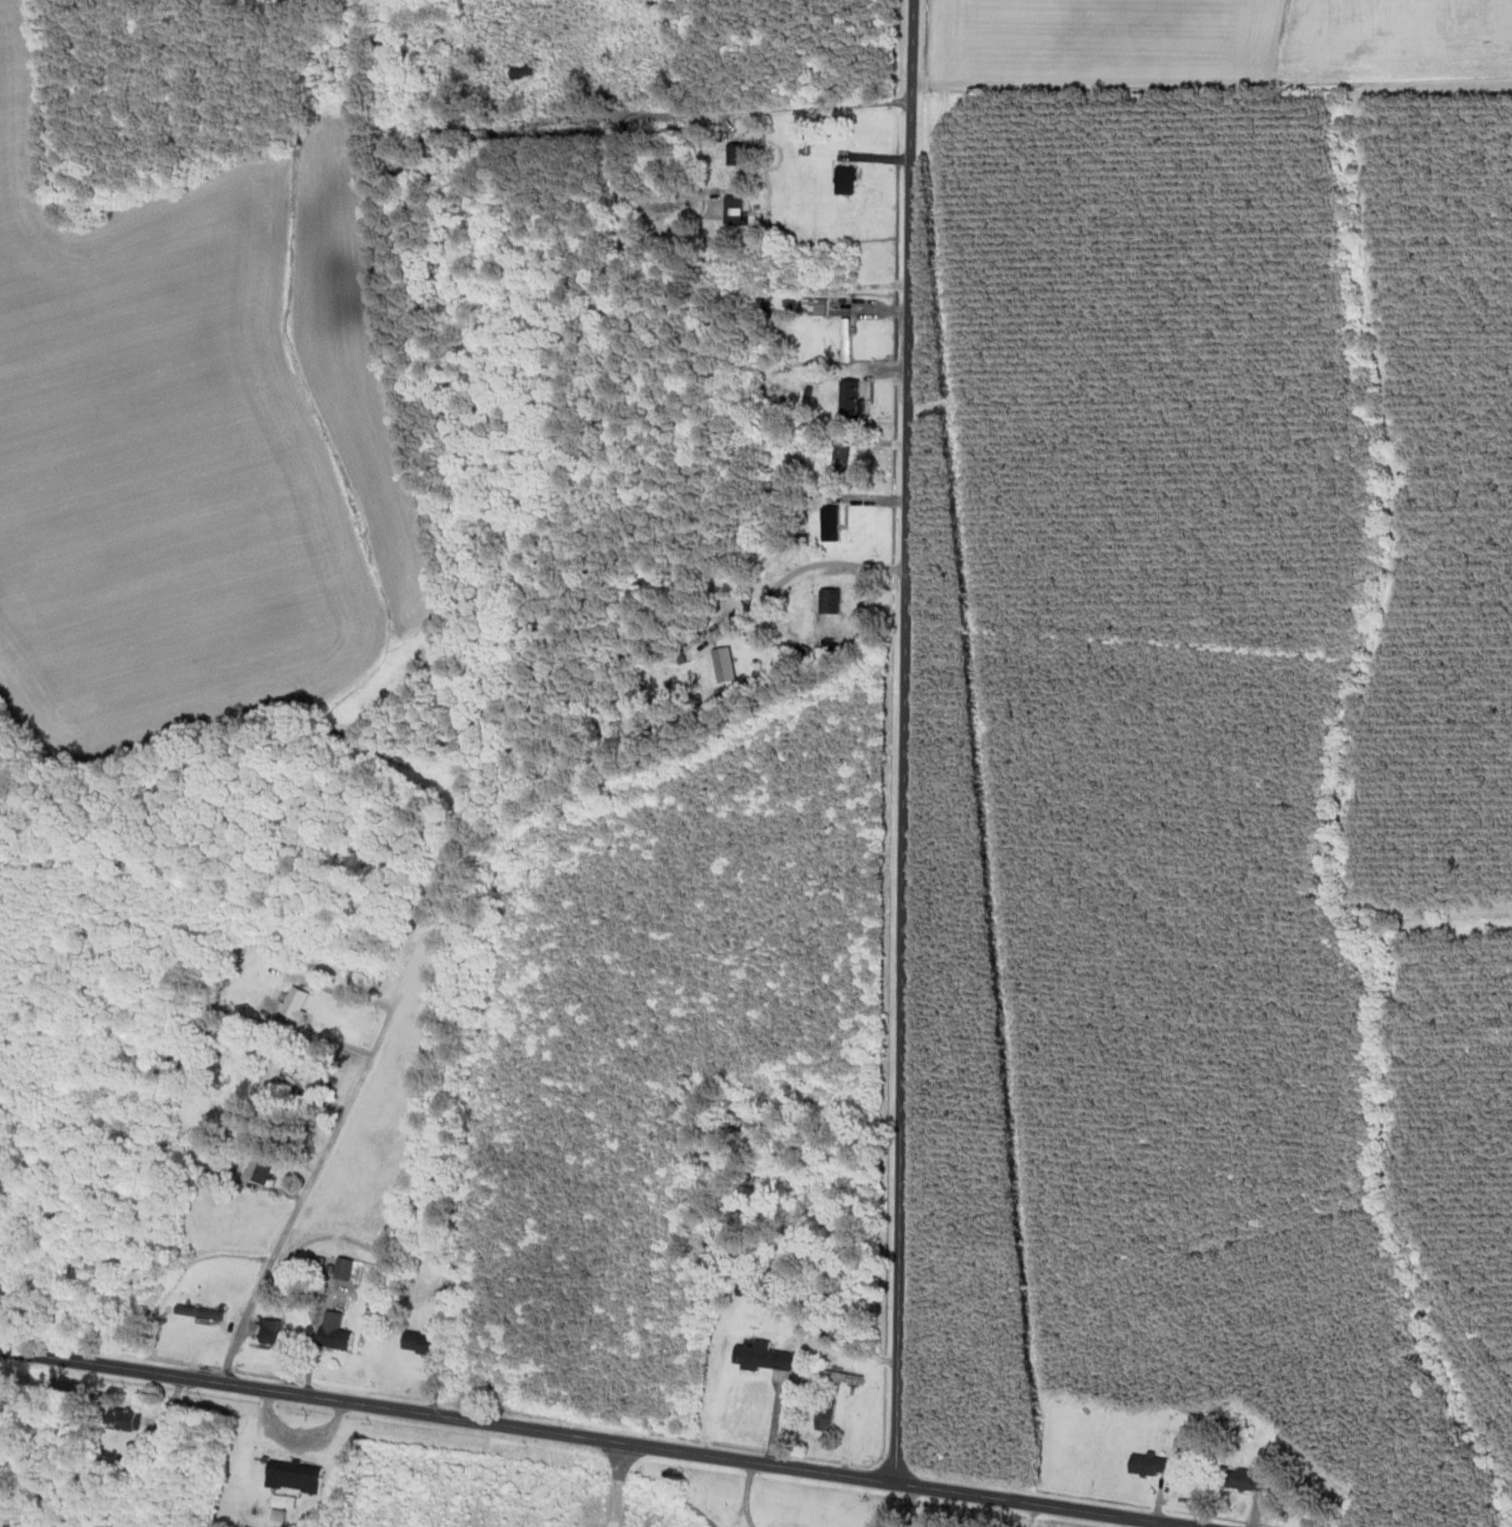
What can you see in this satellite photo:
building: (521, 72)
road: (704, 115)
building: (734, 155)
building: (843, 182)
building: (732, 212)
building: (845, 266)
building: (844, 340)
building: (850, 401)
building: (839, 465)
road: (801, 570)
building: (829, 603)
building: (682, 656)
building: (723, 666)
road: (904, 741)
building: (293, 1005)
building: (272, 1071)
building: (258, 1167)
road: (299, 1204)
building: (201, 1314)
building: (268, 1332)
building: (333, 1334)
road: (312, 1339)
building: (418, 1344)
building: (760, 1358)
building: (840, 1378)
building: (822, 1415)
building: (122, 1421)
building: (1239, 1434)
road: (597, 1439)
building: (1146, 1466)
building: (128, 1469)
building: (292, 1478)
building: (1242, 1482)
road: (745, 1494)

